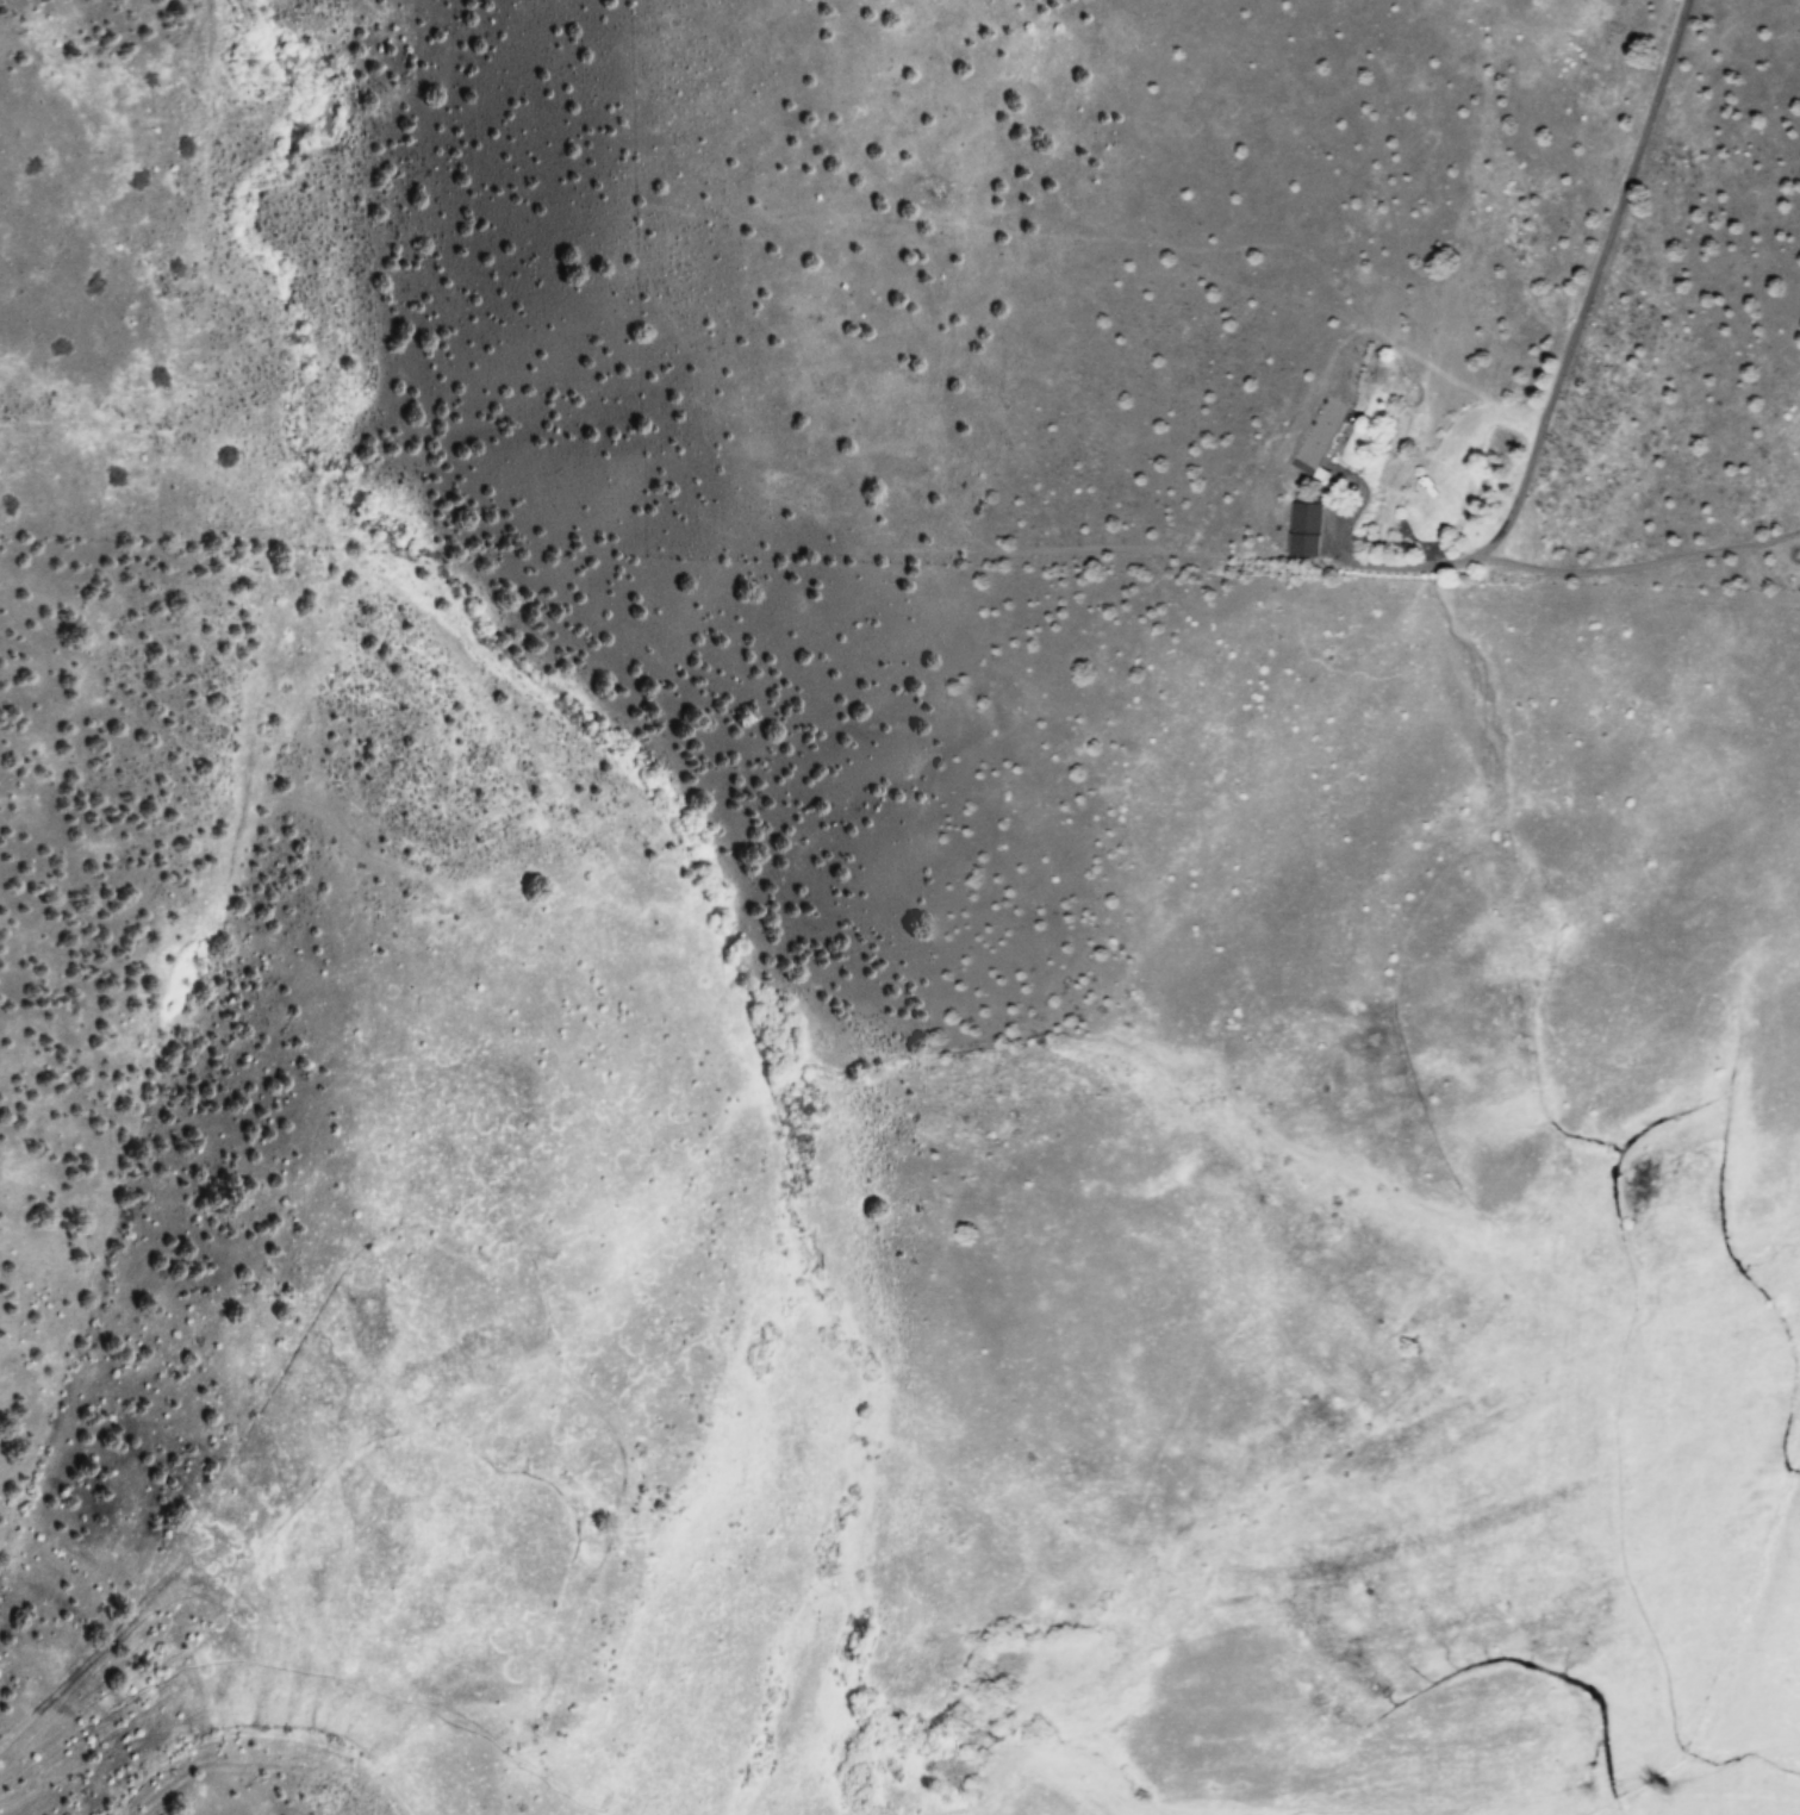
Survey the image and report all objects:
building: (1318, 434)
building: (1302, 529)

